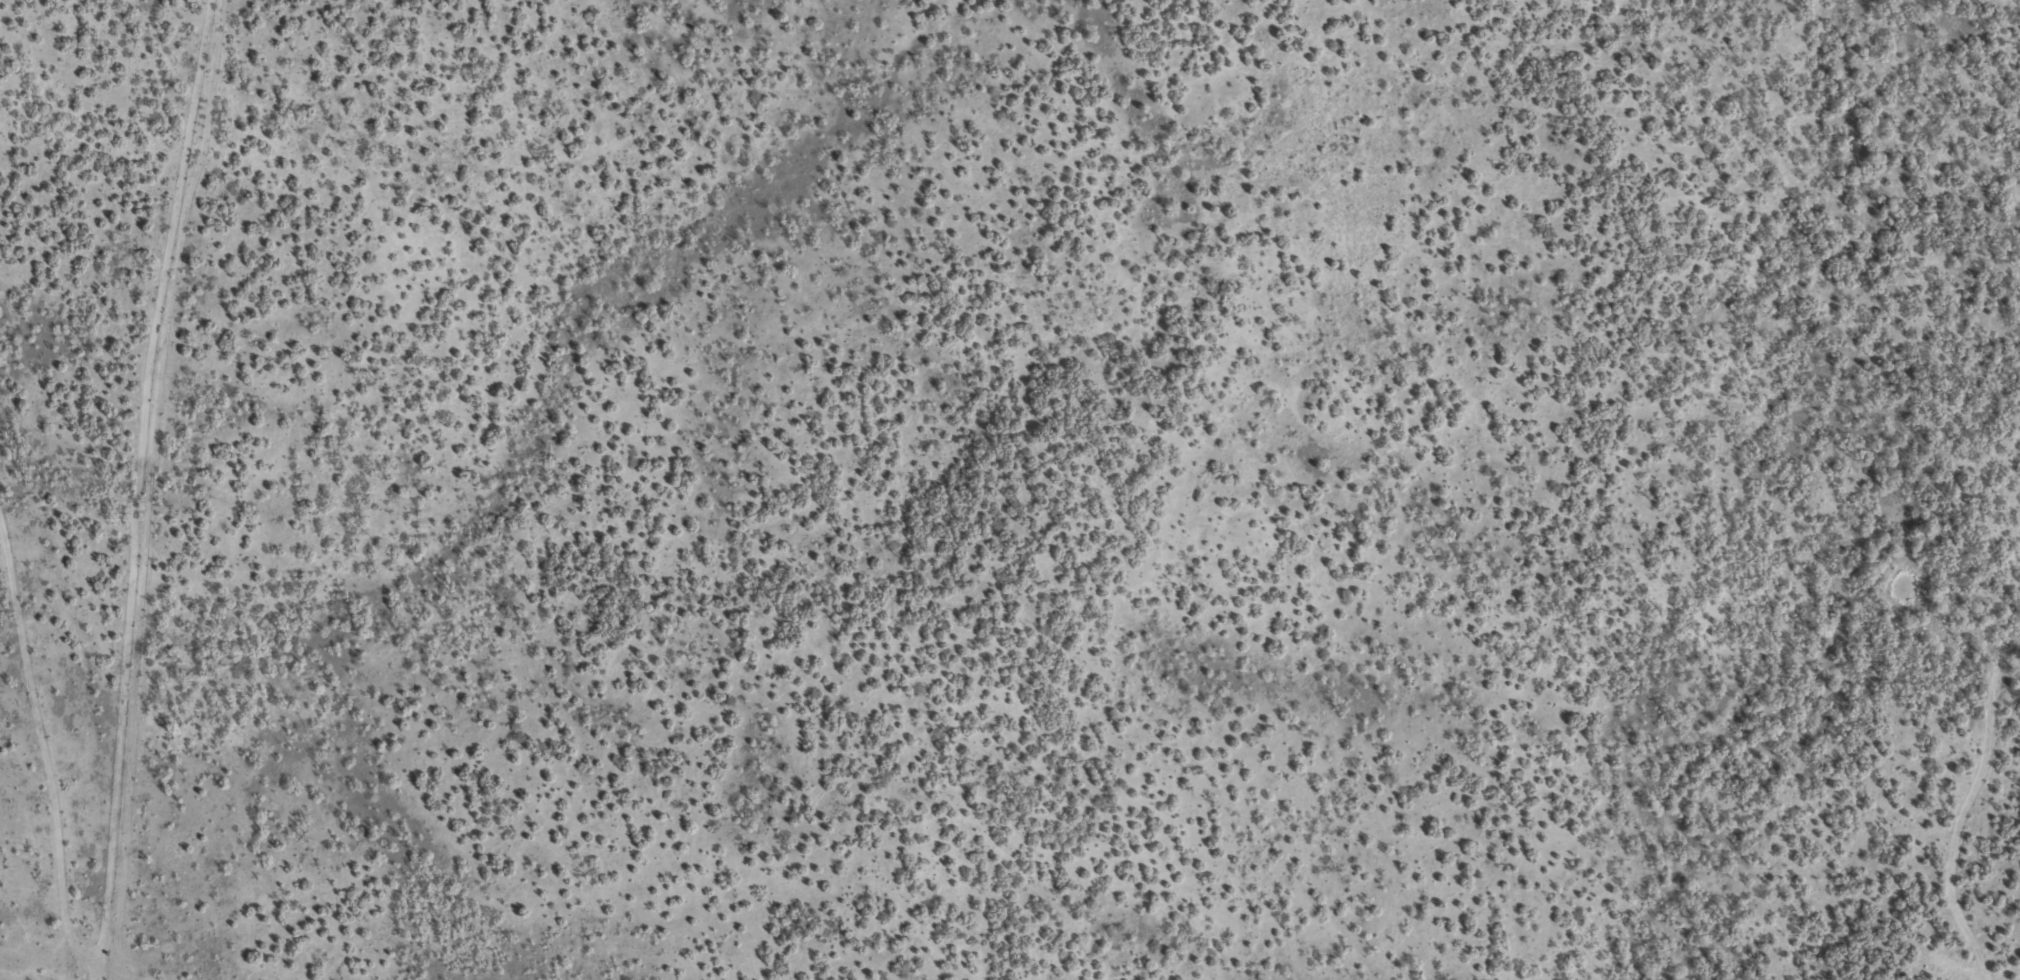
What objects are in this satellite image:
road: (1973, 817)
road: (31, 868)
road: (556, 875)

